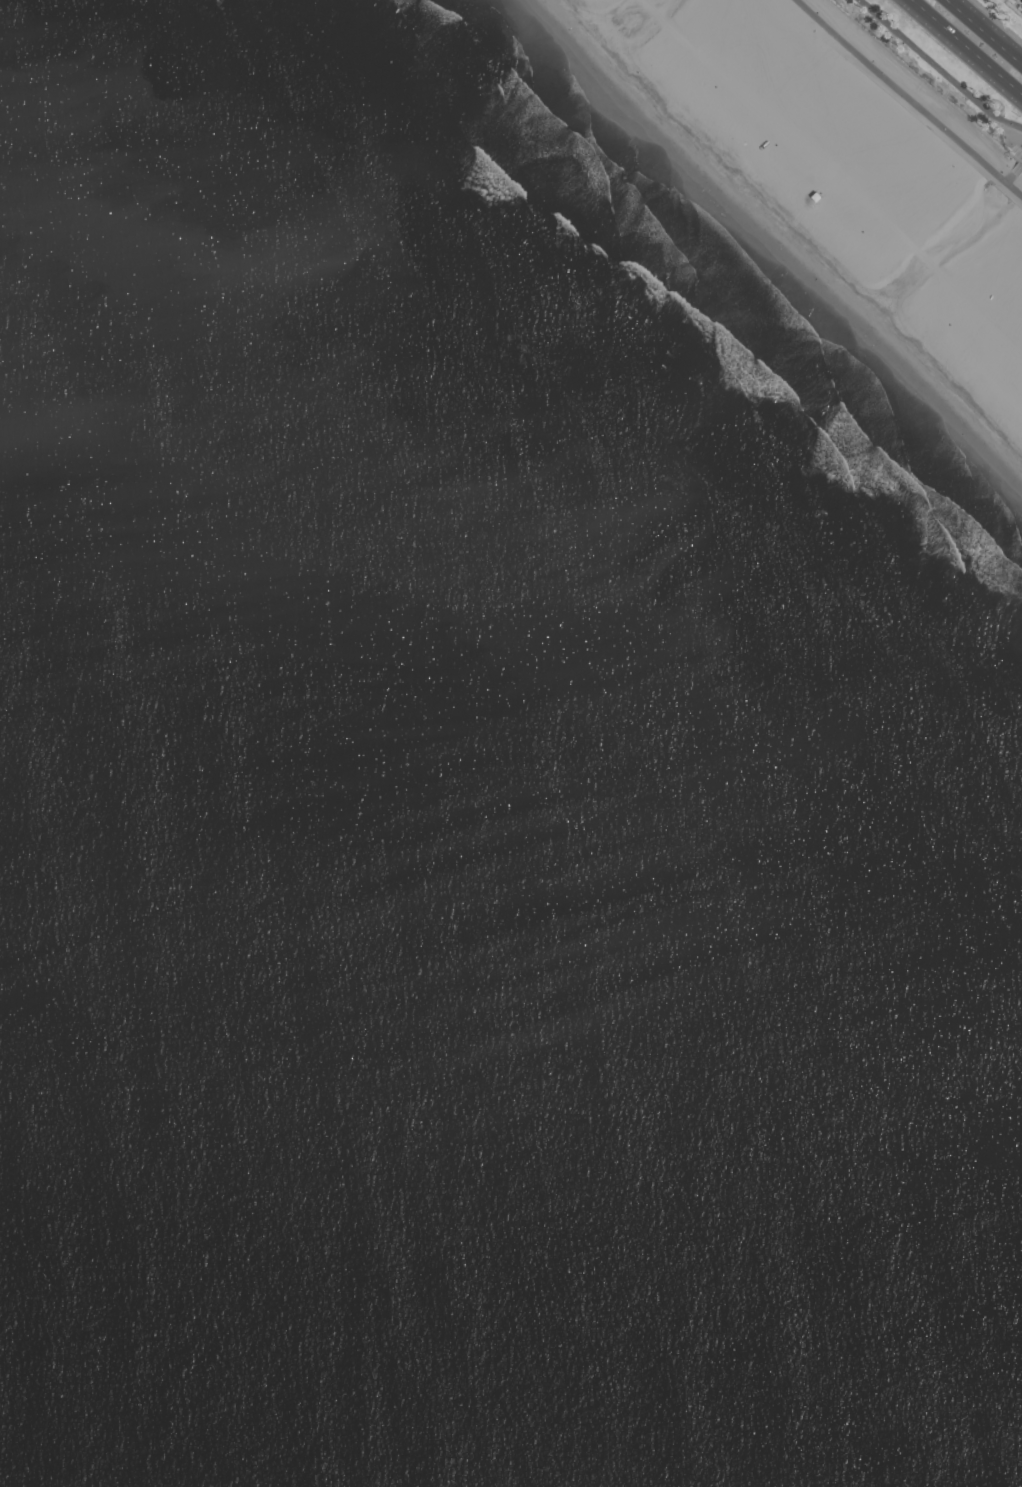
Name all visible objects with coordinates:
building: (1021, 13)
road: (991, 25)
road: (967, 46)
road: (939, 66)
road: (910, 98)
building: (850, 164)

